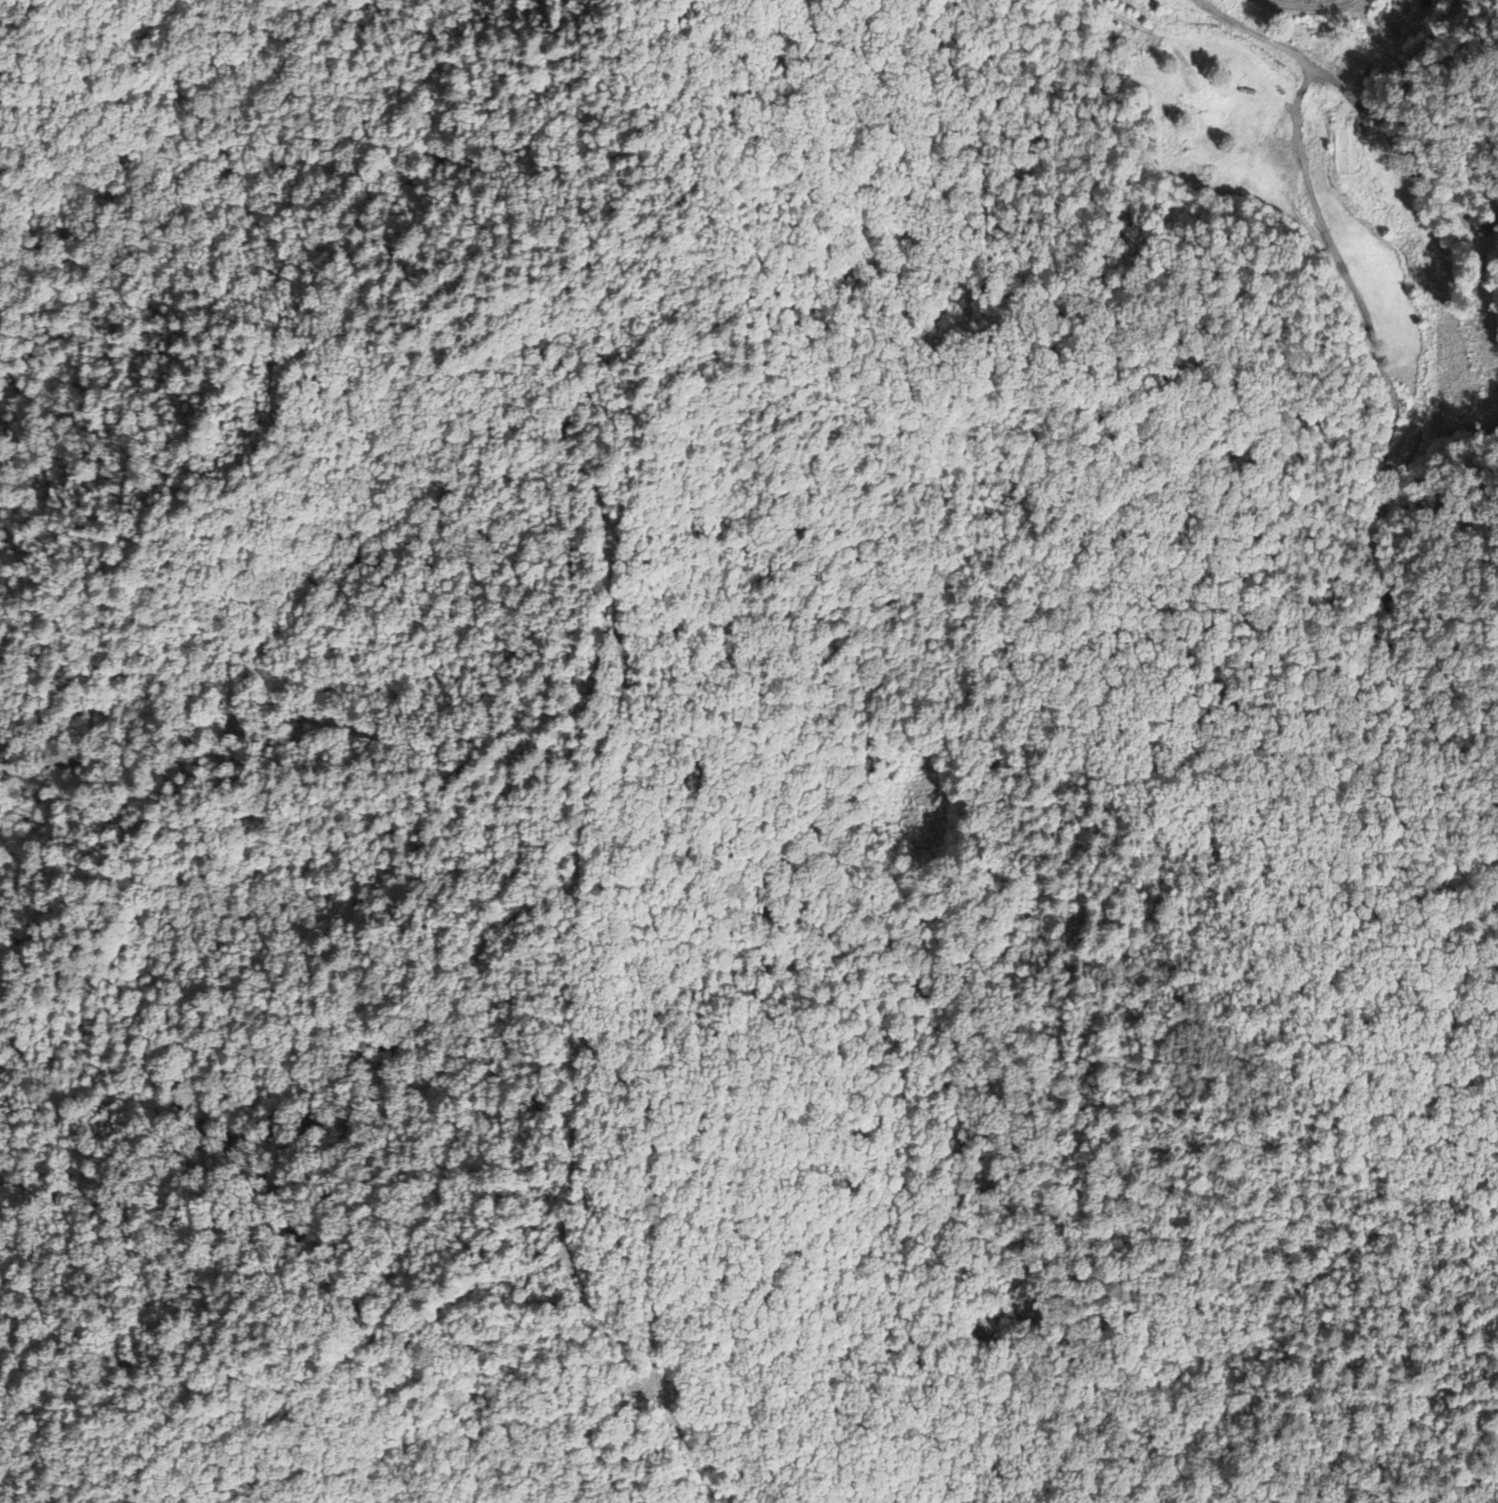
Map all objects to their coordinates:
road: (1438, 447)

